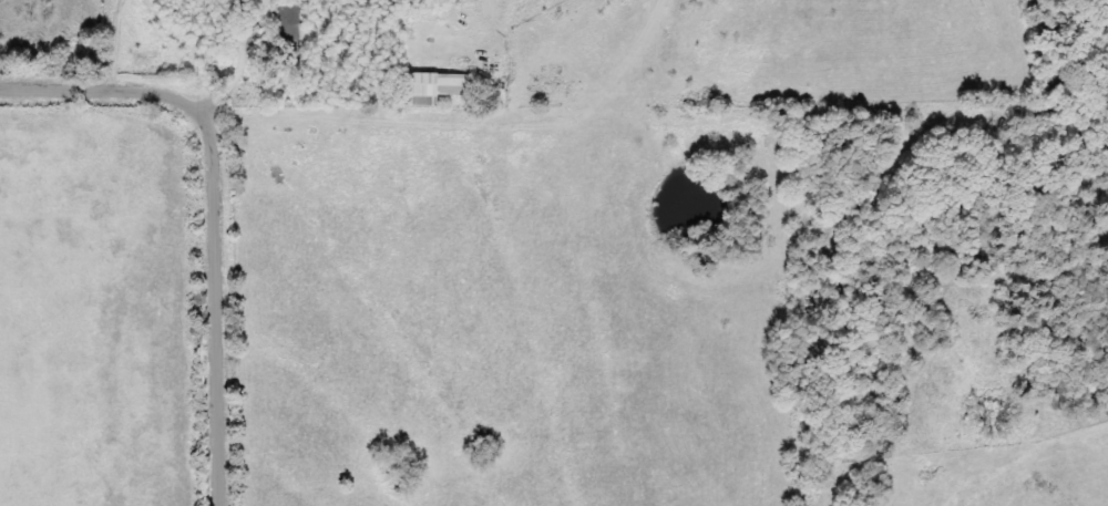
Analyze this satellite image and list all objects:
building: (293, 29)
airport runway: (644, 40)
building: (435, 87)
road: (223, 203)

